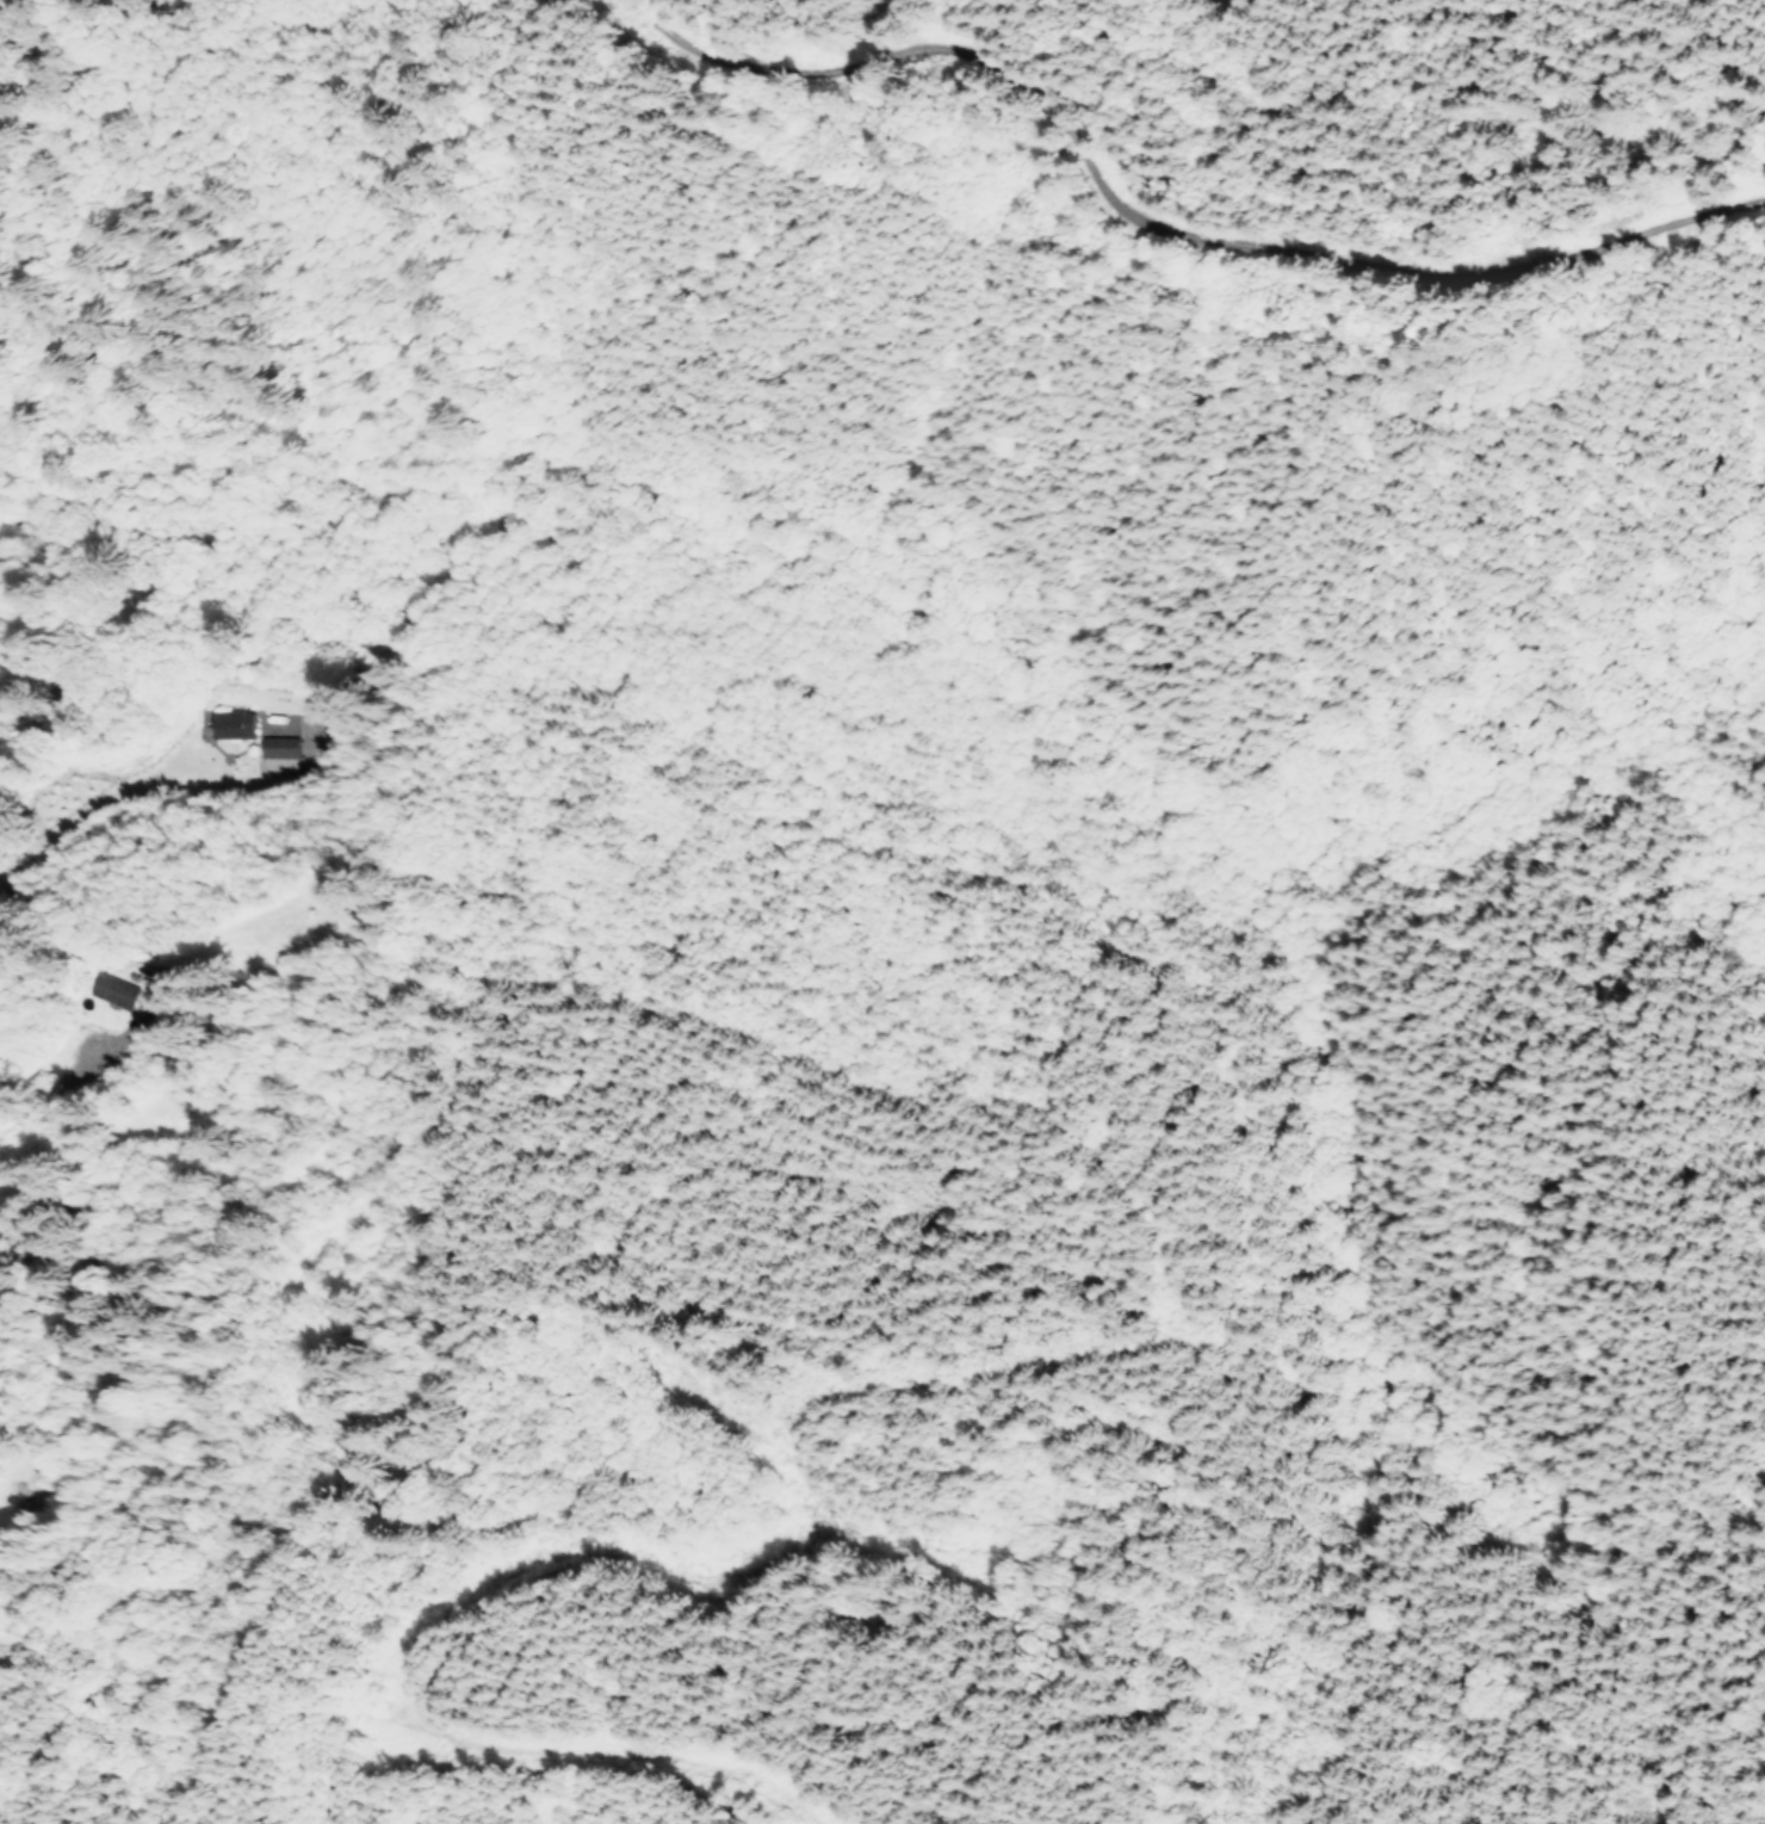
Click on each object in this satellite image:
road: (1027, 350)
building: (234, 722)
building: (278, 752)
building: (116, 988)
road: (475, 1299)
road: (643, 1690)

